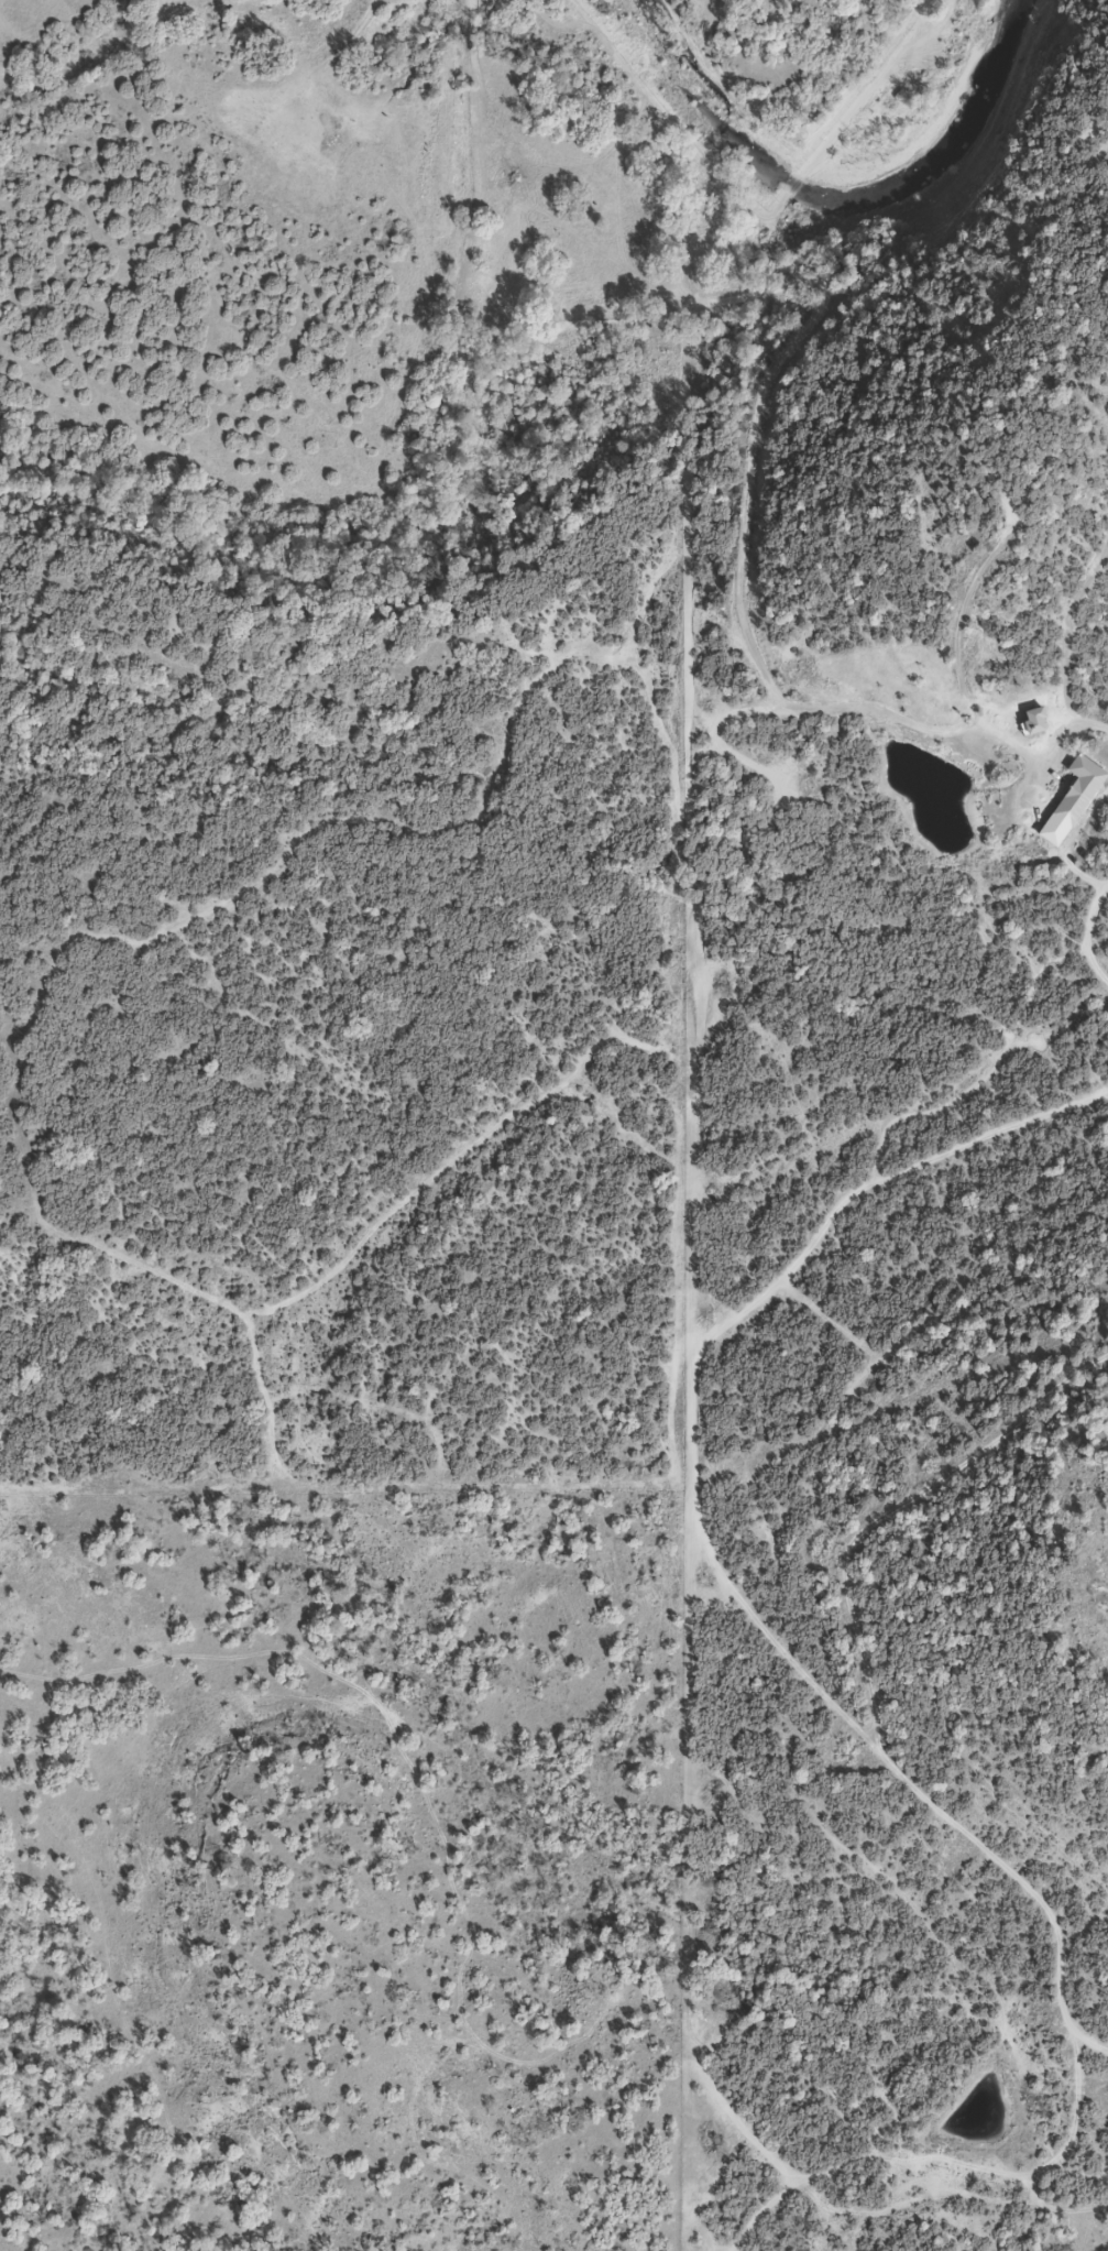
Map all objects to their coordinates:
road: (1067, 723)
building: (1069, 790)

